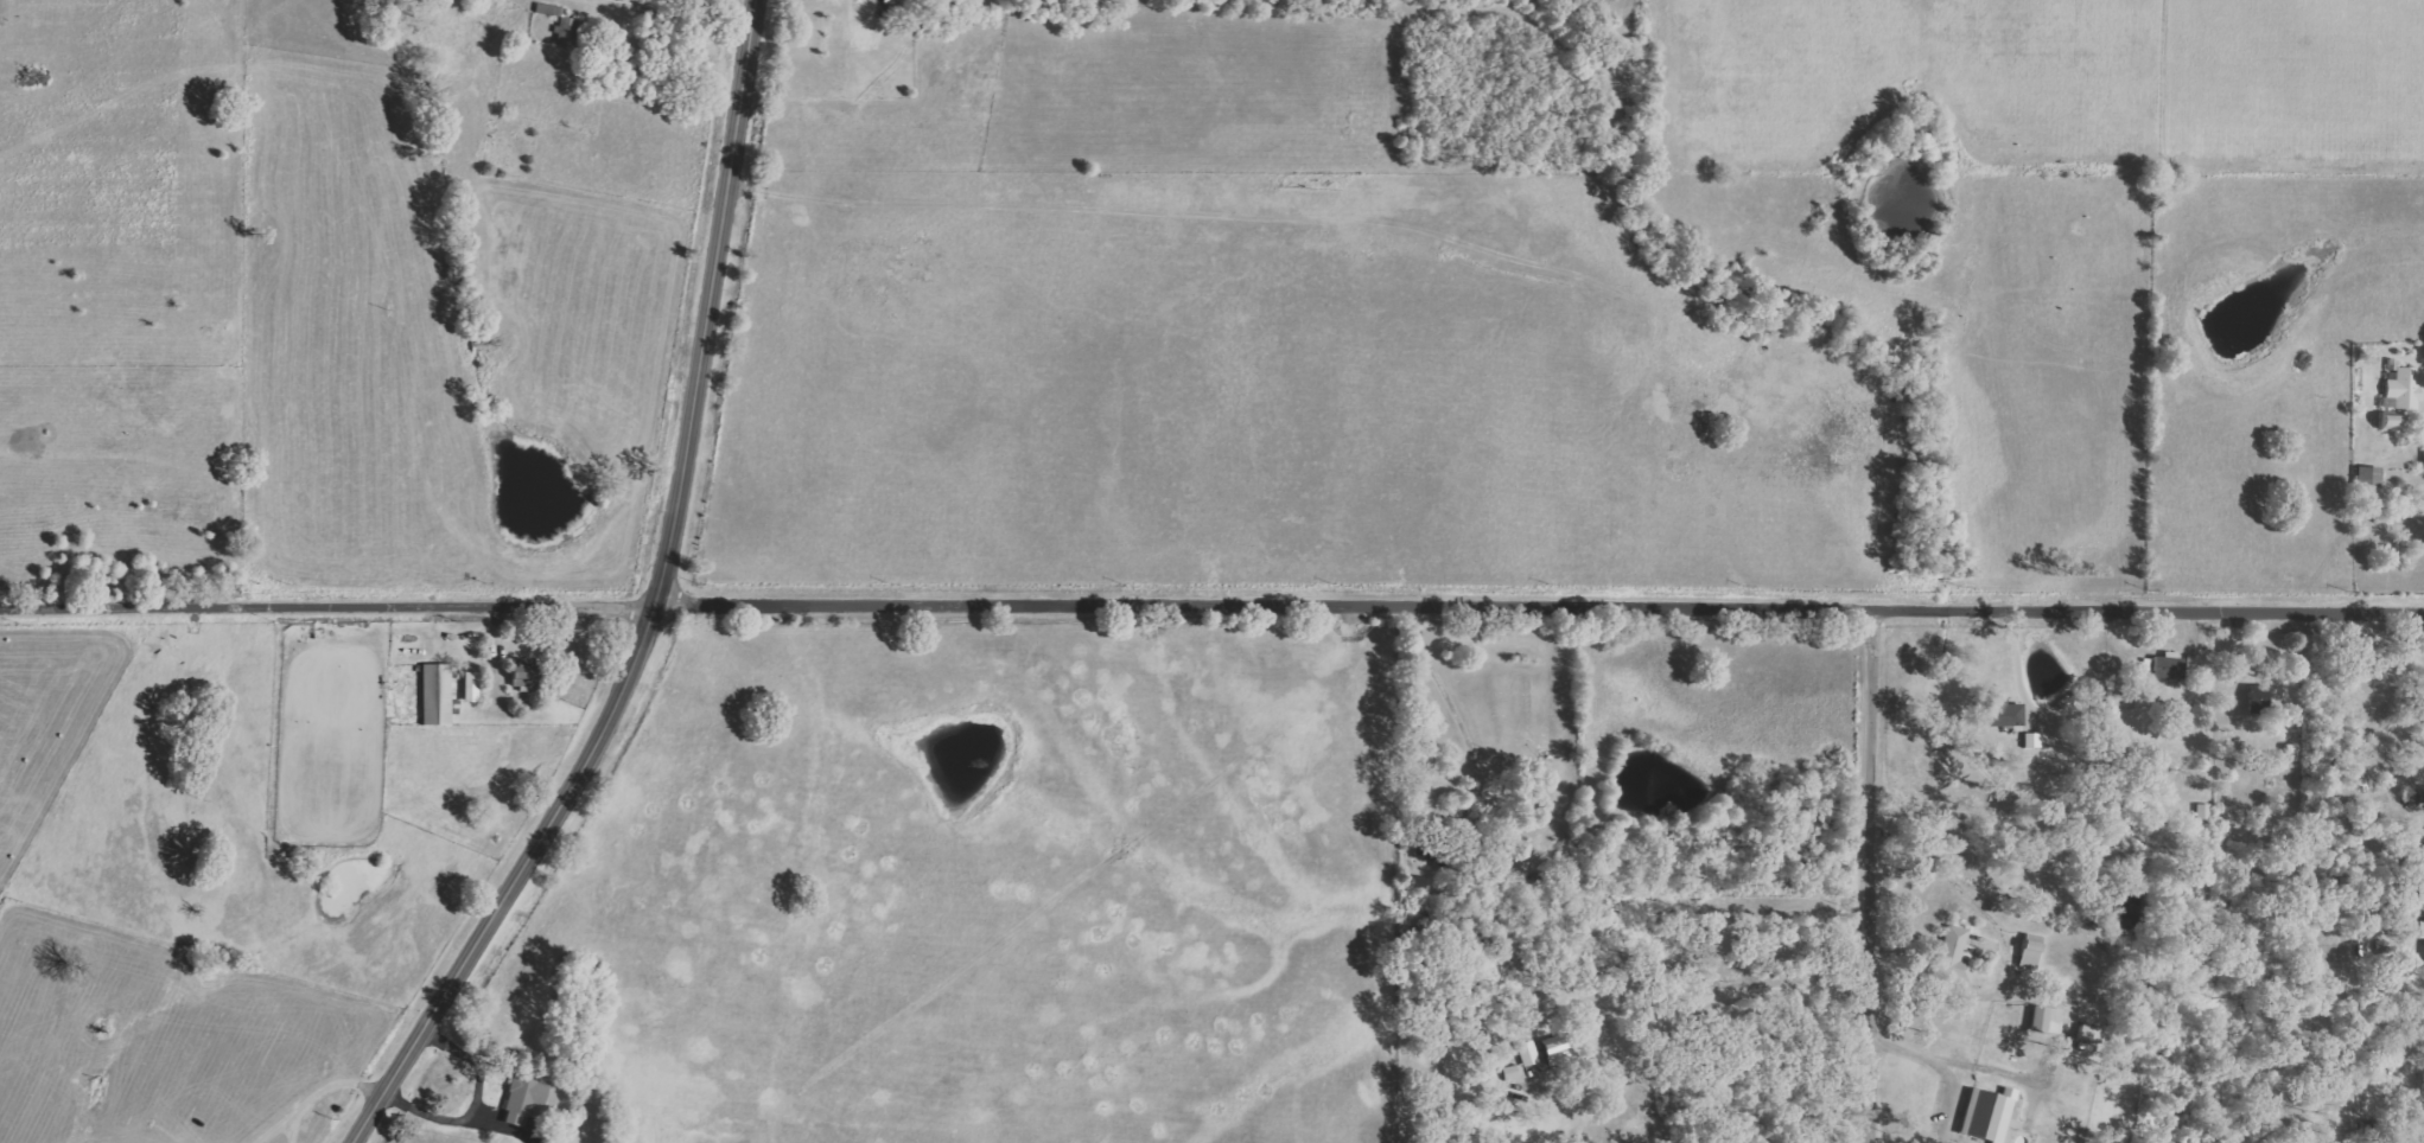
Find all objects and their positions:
road: (677, 15)
building: (867, 20)
building: (2405, 388)
building: (2390, 417)
road: (332, 600)
road: (1544, 605)
road: (663, 609)
building: (2194, 663)
building: (2168, 666)
building: (520, 675)
building: (471, 687)
road: (1448, 692)
building: (438, 694)
building: (2002, 714)
road: (1871, 873)
building: (2030, 950)
building: (1953, 954)
road: (1680, 988)
building: (2046, 1019)
building: (1527, 1052)
building: (1557, 1052)
road: (1932, 1060)
road: (313, 1091)
building: (522, 1100)
building: (1987, 1113)
building: (565, 1138)

